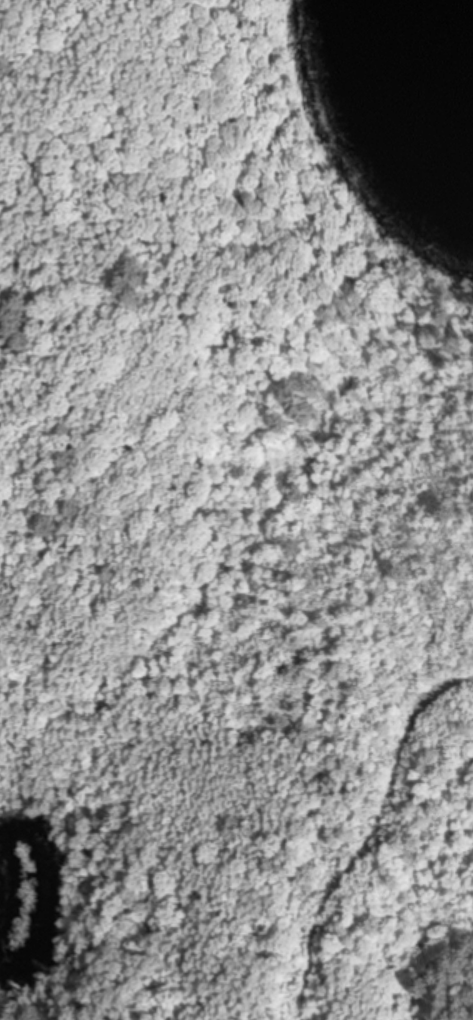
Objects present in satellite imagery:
road: (366, 830)

